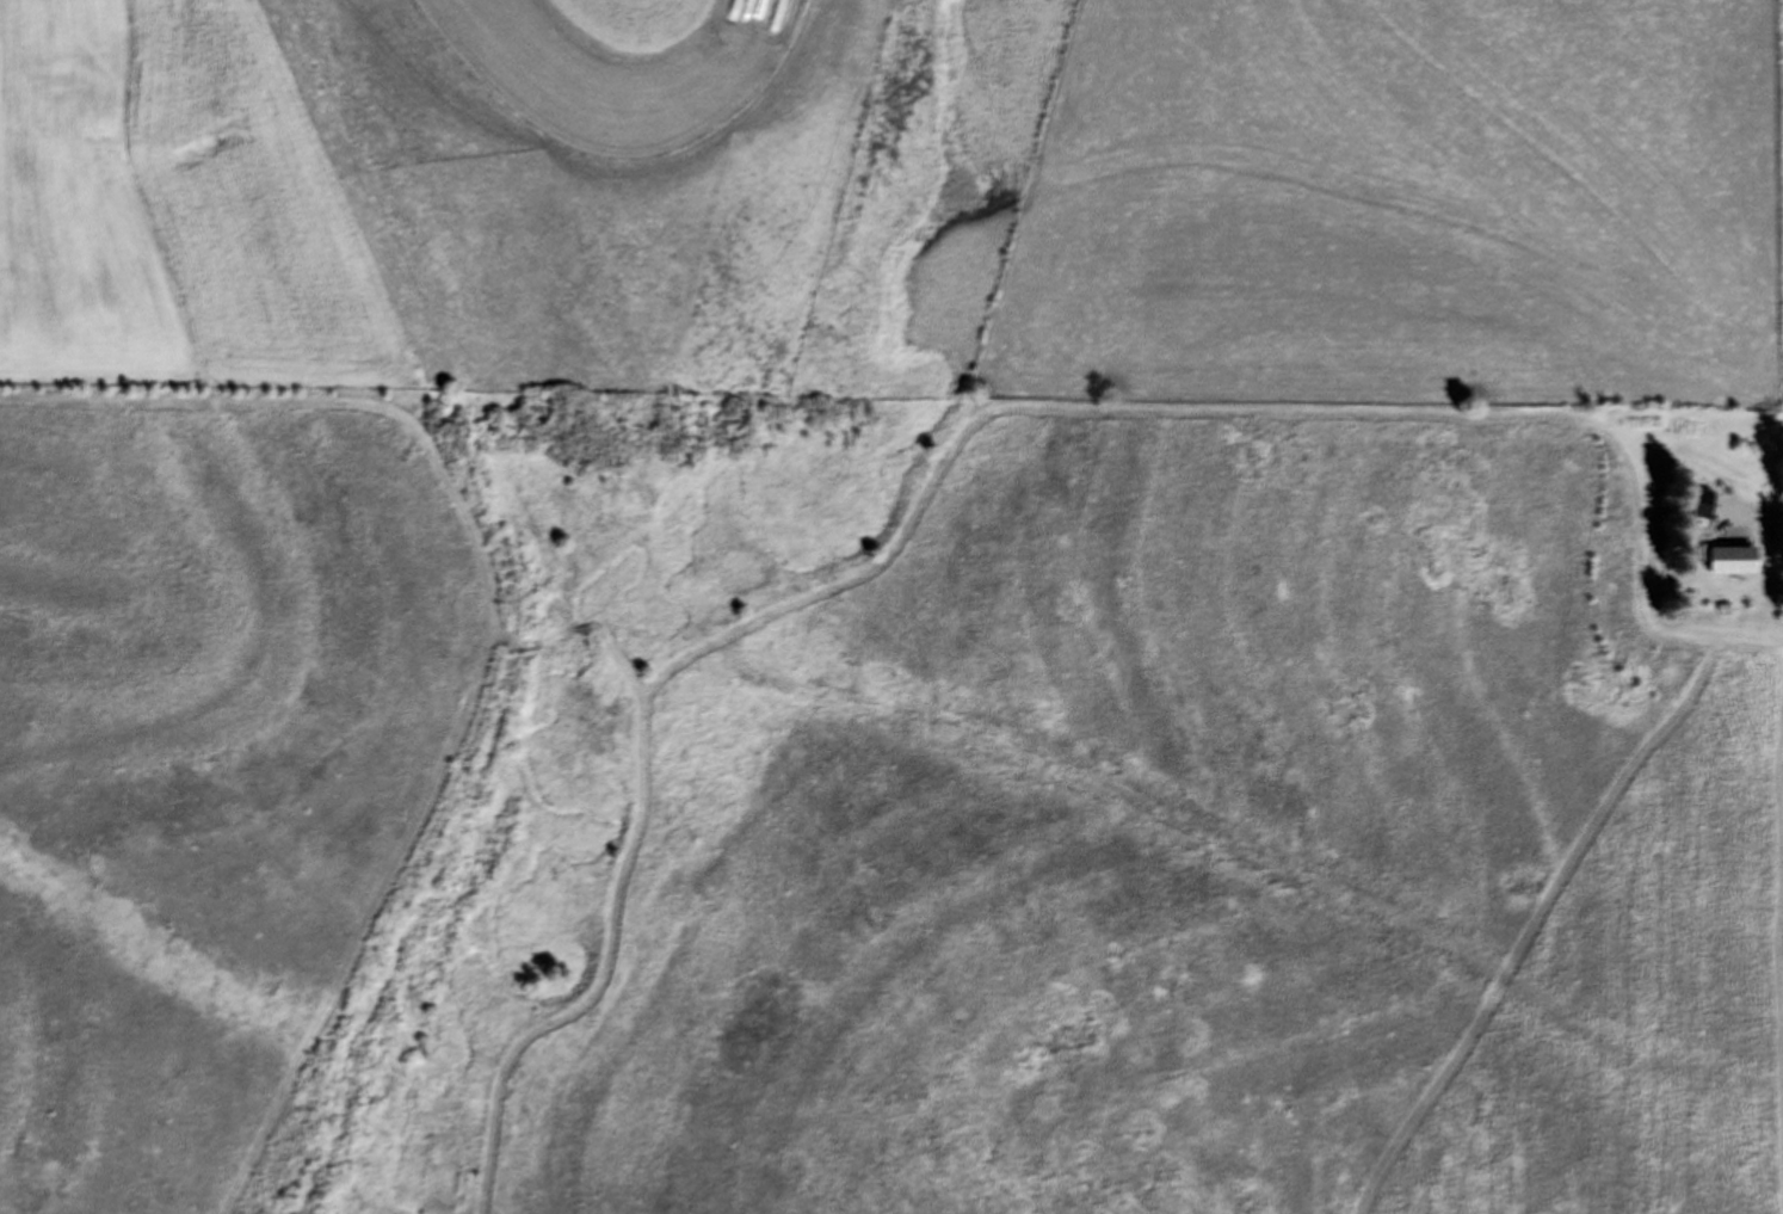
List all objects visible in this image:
building: (1697, 505)
building: (1722, 561)

